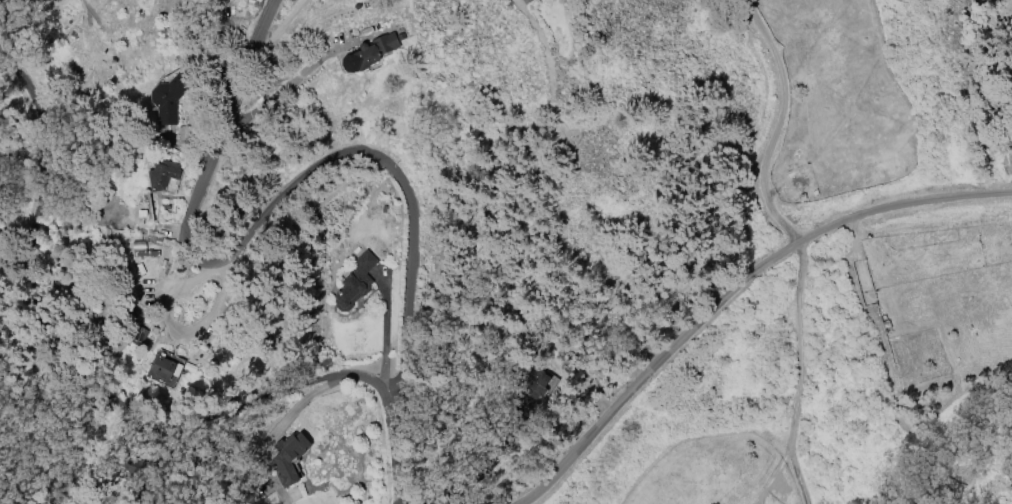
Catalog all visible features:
road: (281, 23)
road: (537, 38)
building: (369, 51)
road: (287, 84)
building: (164, 96)
crop: (836, 99)
road: (776, 123)
road: (309, 168)
building: (158, 175)
building: (139, 246)
building: (354, 281)
road: (731, 289)
crop: (937, 302)
building: (164, 369)
road: (796, 374)
road: (86, 381)
building: (286, 457)
crop: (722, 472)

